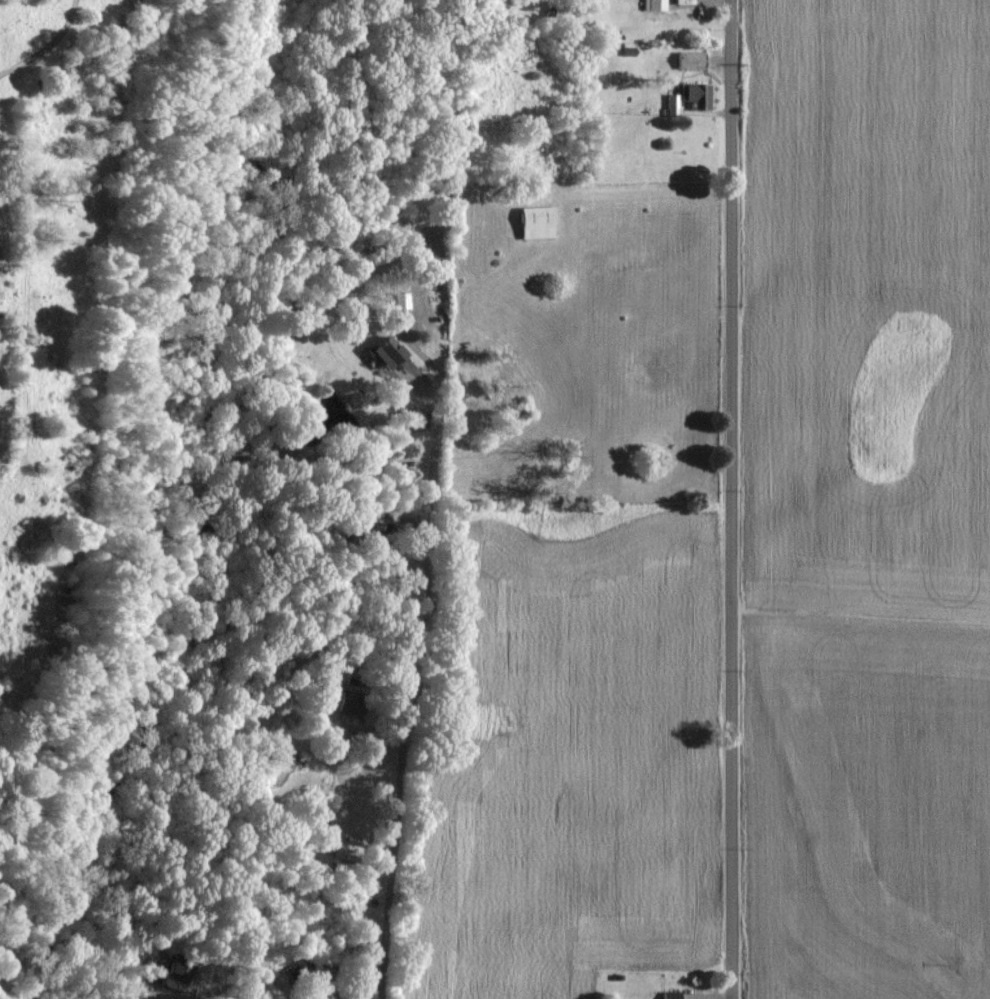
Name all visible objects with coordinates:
building: (654, 4)
road: (52, 49)
building: (692, 59)
building: (692, 91)
building: (673, 103)
road: (656, 141)
building: (538, 222)
building: (390, 351)
road: (733, 499)
building: (350, 702)
road: (415, 713)
building: (181, 967)
building: (671, 994)

